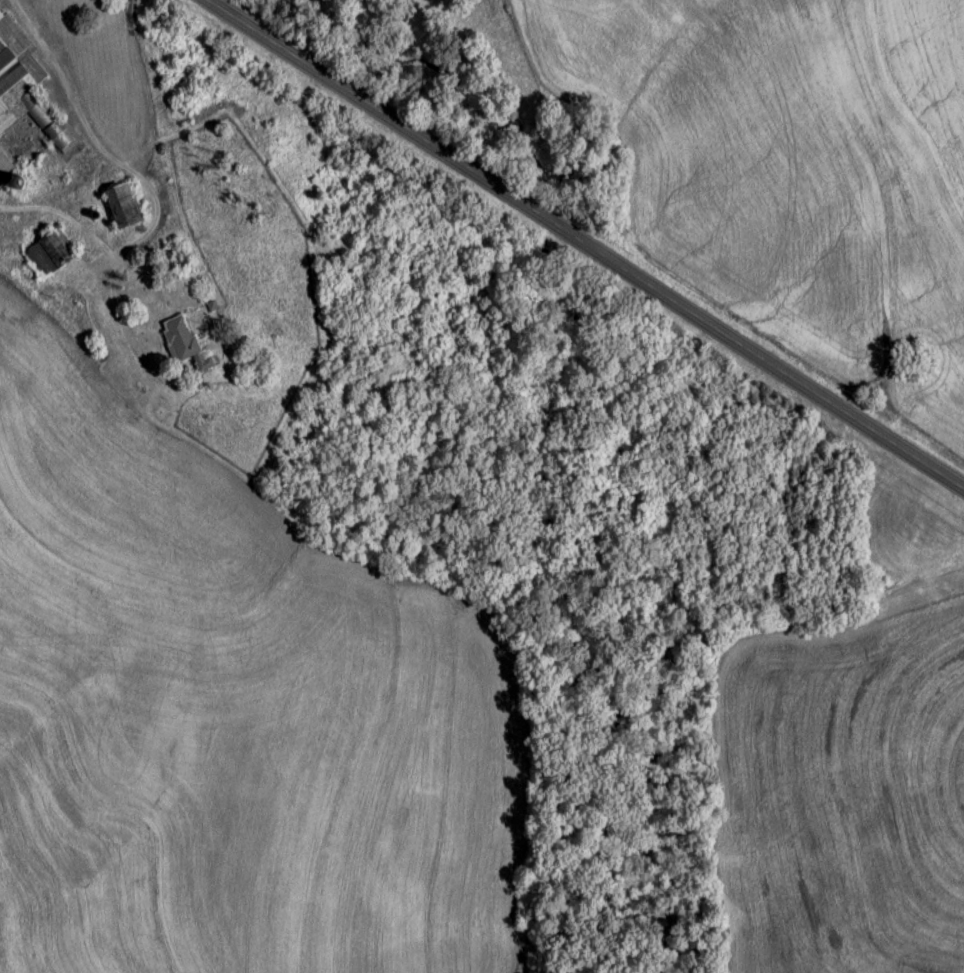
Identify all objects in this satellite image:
building: (25, 89)
road: (74, 101)
building: (4, 166)
road: (154, 175)
building: (121, 206)
road: (587, 238)
building: (50, 254)
building: (183, 344)

